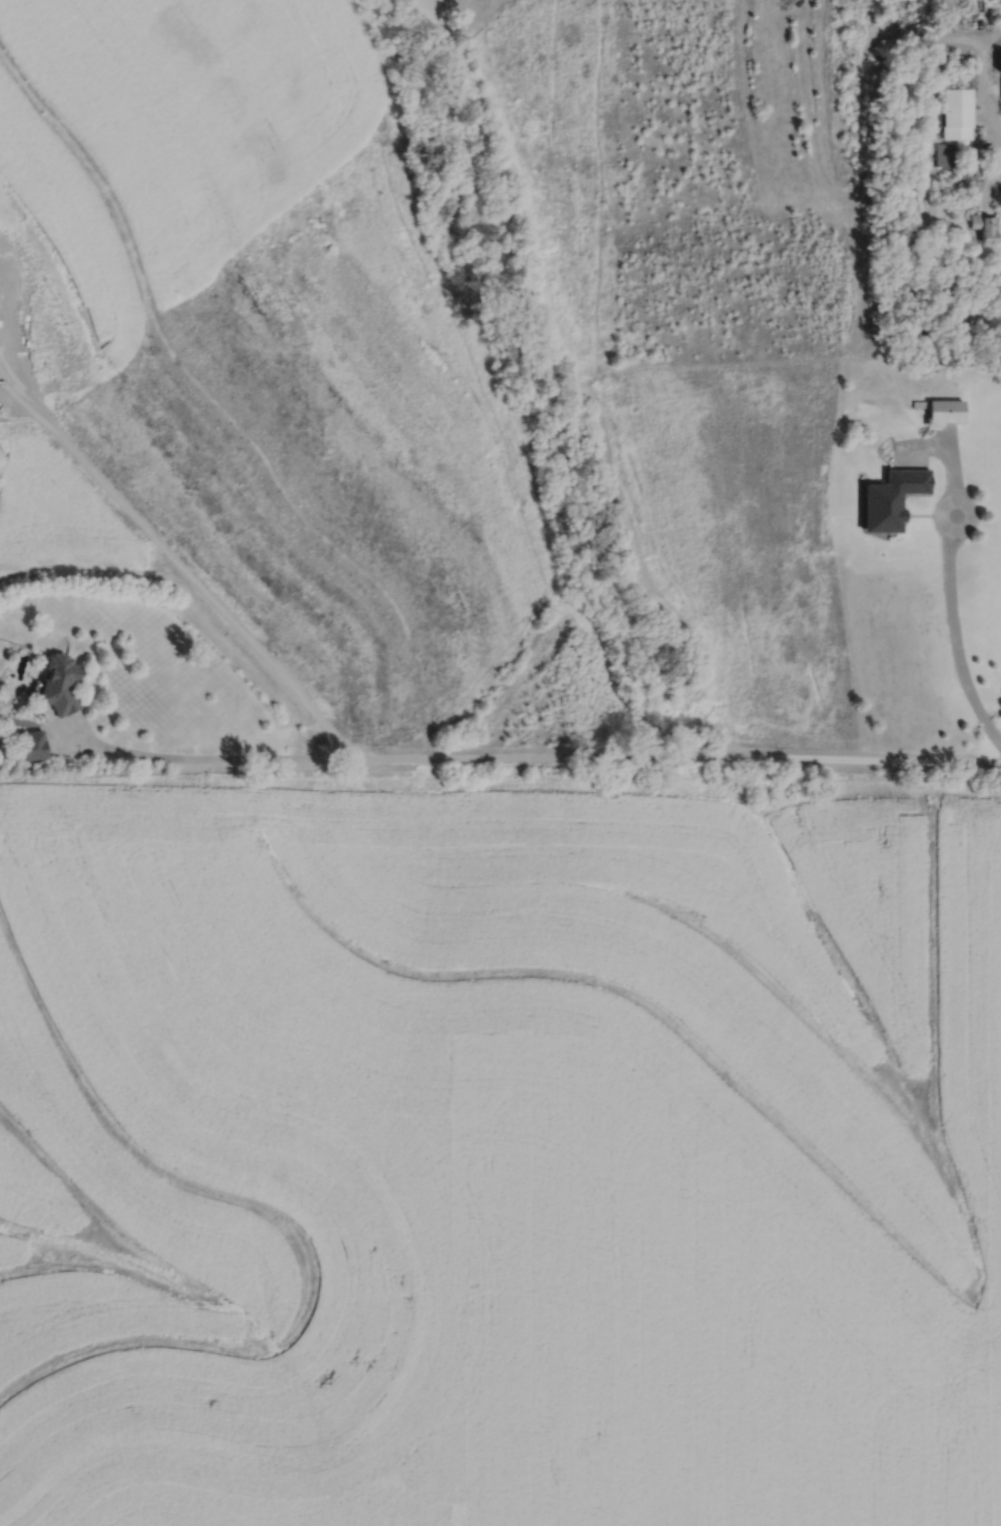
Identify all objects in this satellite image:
building: (999, 89)
road: (986, 100)
building: (951, 114)
building: (961, 182)
building: (981, 228)
building: (942, 413)
road: (922, 444)
road: (908, 457)
road: (952, 460)
building: (887, 500)
road: (956, 530)
road: (200, 585)
road: (955, 642)
building: (61, 682)
road: (80, 725)
road: (44, 727)
road: (68, 743)
road: (544, 756)

